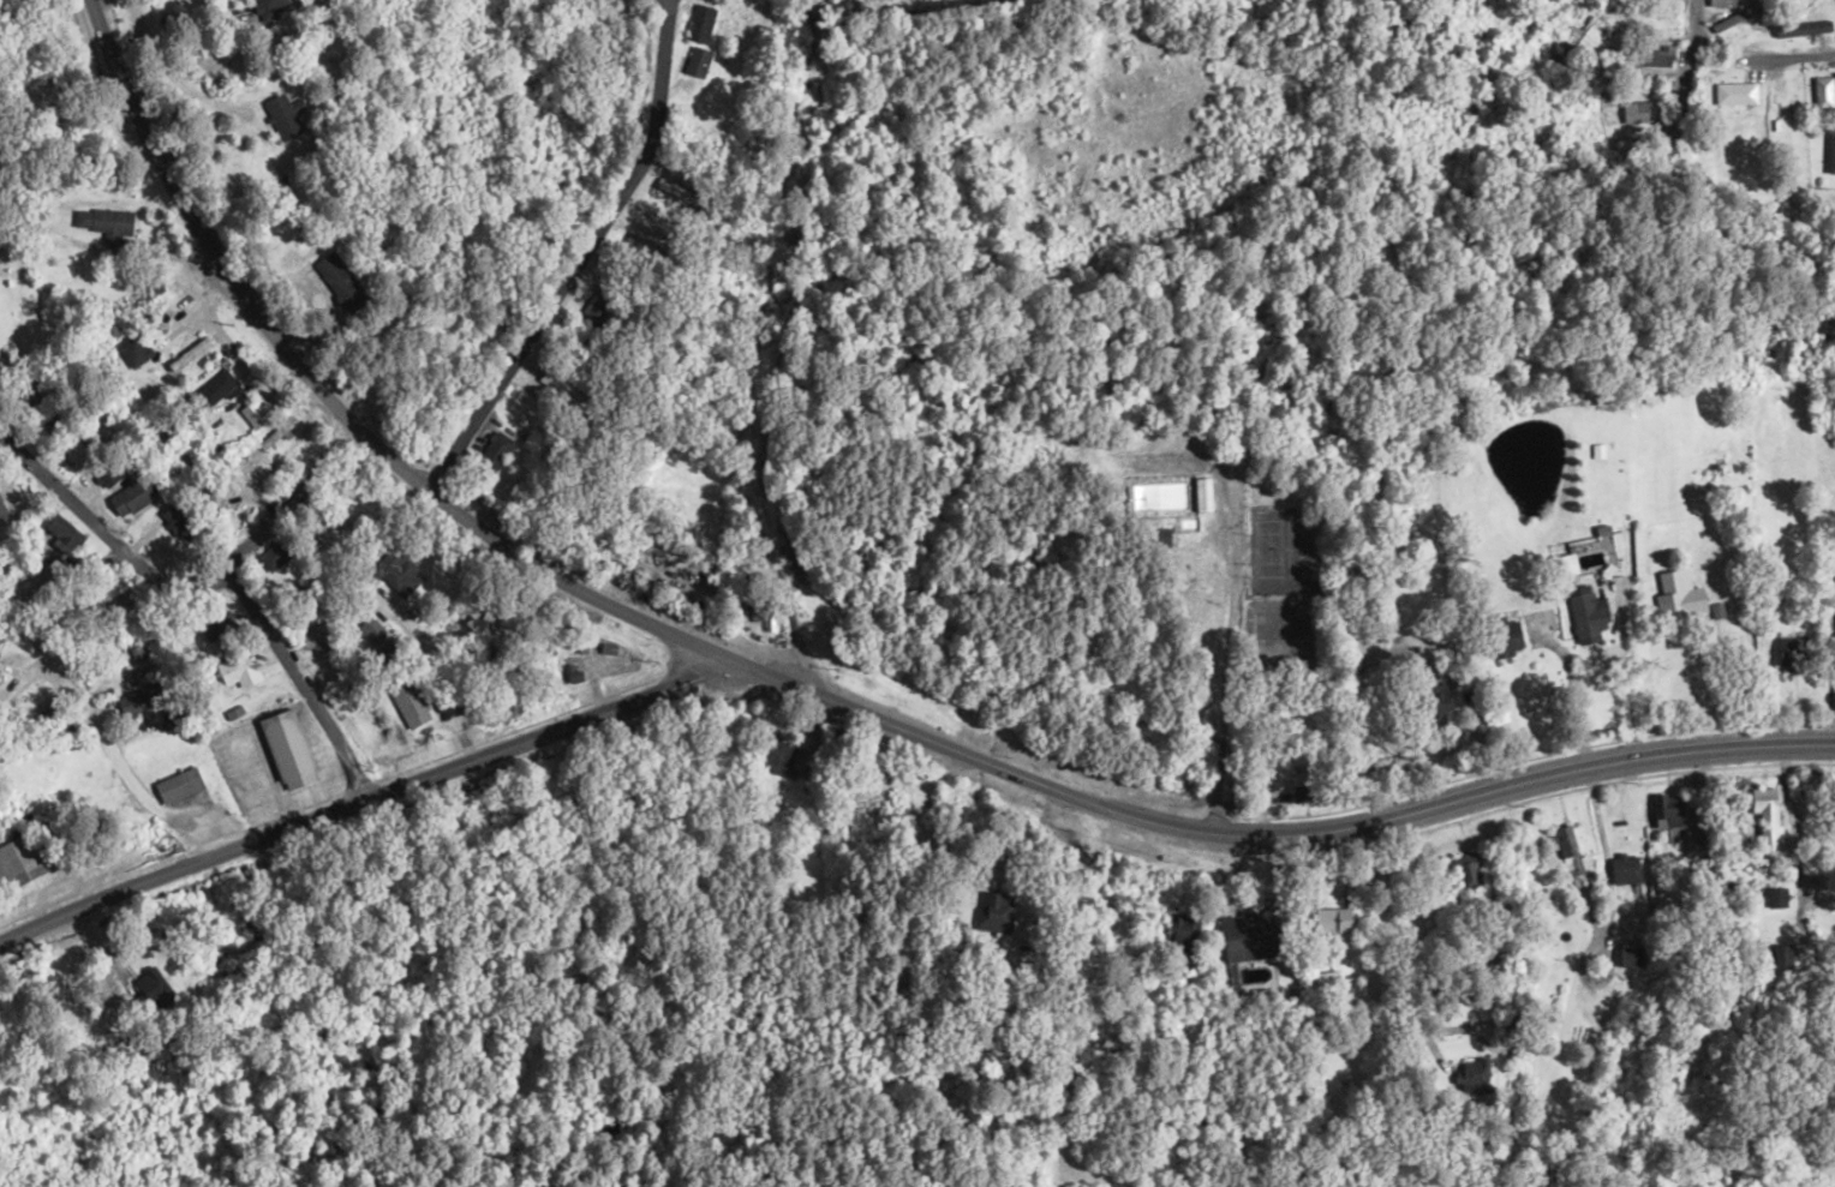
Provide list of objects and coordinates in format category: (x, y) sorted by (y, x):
building: (1756, 2)
building: (1720, 4)
building: (273, 7)
building: (763, 14)
building: (1729, 20)
building: (699, 23)
road: (128, 25)
building: (1801, 28)
building: (1577, 43)
road: (1691, 48)
building: (697, 61)
road: (1769, 70)
building: (1052, 74)
building: (1821, 92)
building: (1734, 94)
road: (195, 96)
building: (1642, 112)
building: (280, 115)
building: (1829, 151)
building: (661, 188)
road: (1787, 202)
building: (104, 223)
road: (581, 256)
road: (807, 265)
building: (337, 282)
building: (602, 304)
building: (131, 350)
building: (215, 386)
road: (331, 400)
building: (279, 433)
building: (494, 449)
building: (74, 454)
building: (1033, 457)
road: (1179, 457)
building: (267, 466)
building: (104, 474)
building: (1197, 493)
building: (210, 494)
building: (131, 496)
building: (2, 511)
building: (177, 517)
road: (705, 524)
building: (64, 533)
building: (1155, 538)
building: (670, 558)
building: (398, 571)
road: (661, 574)
road: (178, 586)
building: (1673, 598)
building: (118, 604)
building: (1585, 615)
building: (1834, 635)
building: (312, 639)
building: (1501, 640)
building: (1789, 652)
building: (136, 654)
building: (237, 671)
road: (293, 685)
road: (76, 687)
building: (139, 689)
building: (408, 699)
building: (1430, 711)
road: (924, 735)
building: (285, 748)
building: (776, 757)
building: (177, 784)
road: (1478, 792)
road: (360, 801)
building: (873, 805)
building: (1667, 810)
building: (1769, 825)
building: (1564, 850)
building: (18, 863)
building: (1624, 869)
building: (1464, 874)
building: (1776, 897)
building: (991, 912)
building: (1333, 924)
building: (1184, 939)
road: (1807, 941)
building: (1239, 942)
building: (1780, 954)
building: (155, 995)
road: (1093, 1015)
building: (1470, 1073)

